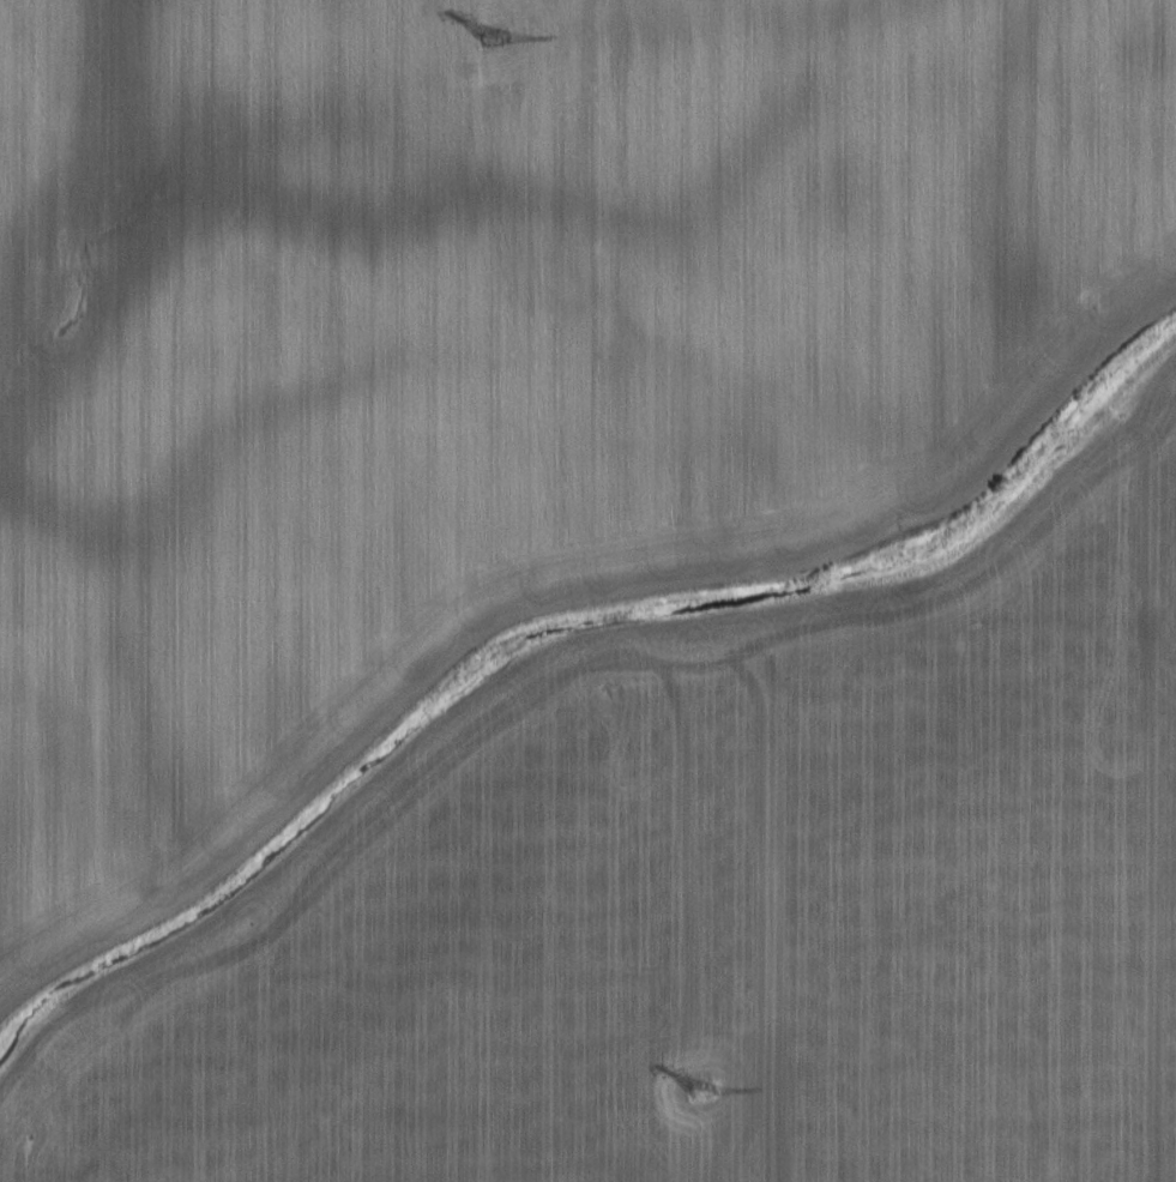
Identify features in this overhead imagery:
power tower: (494, 52)
power tower: (702, 1114)

